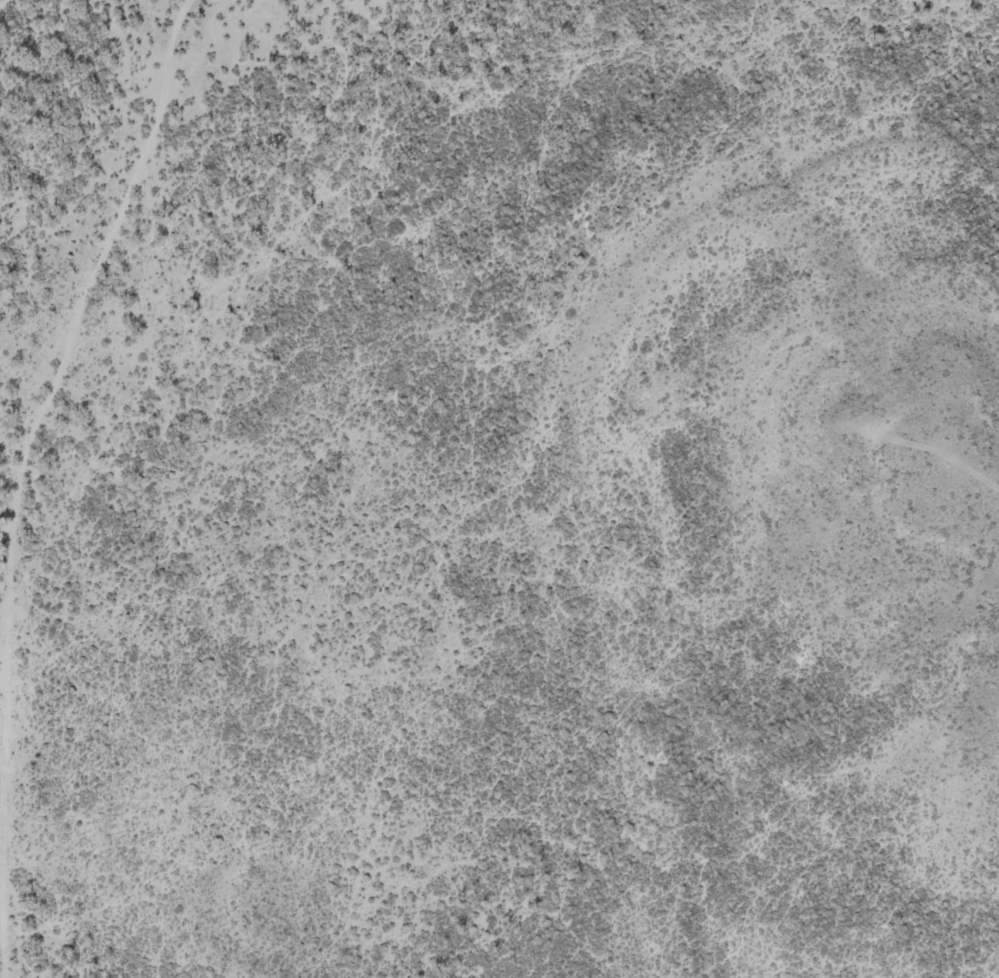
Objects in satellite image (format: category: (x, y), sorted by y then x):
road: (37, 474)

